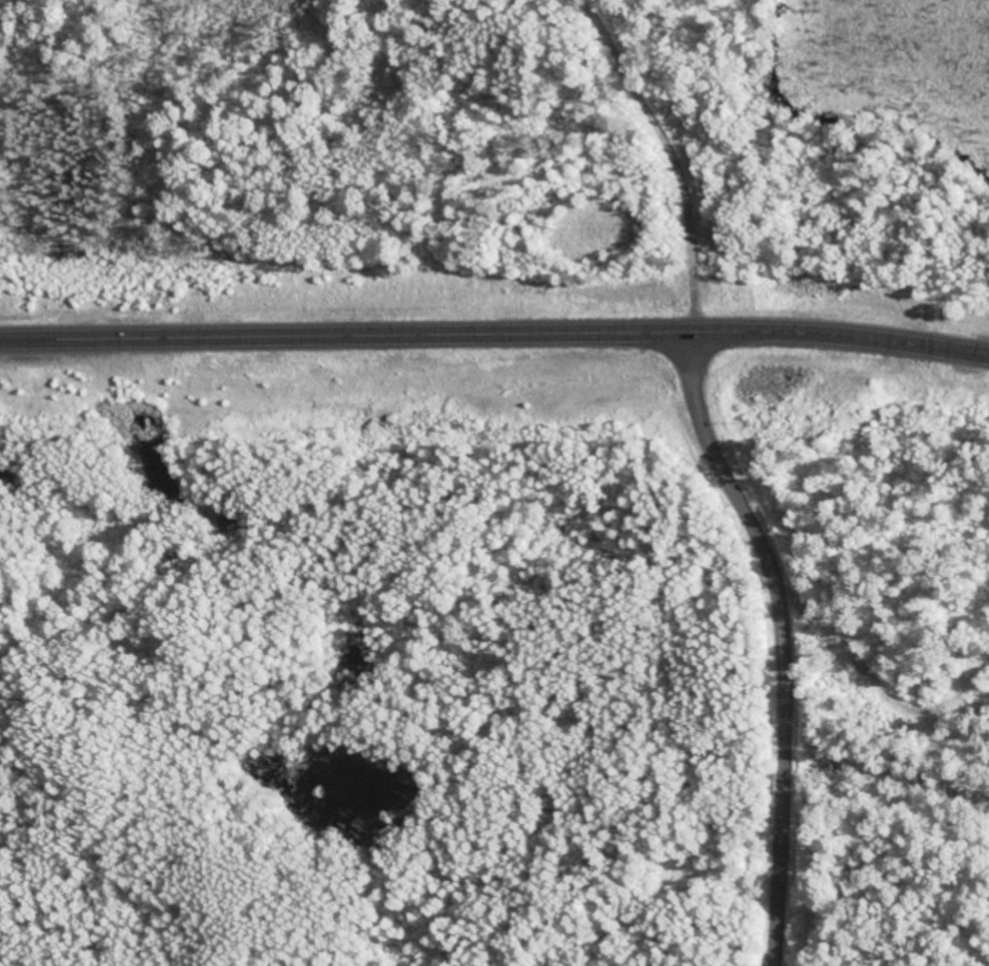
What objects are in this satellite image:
road: (494, 335)
road: (778, 631)

